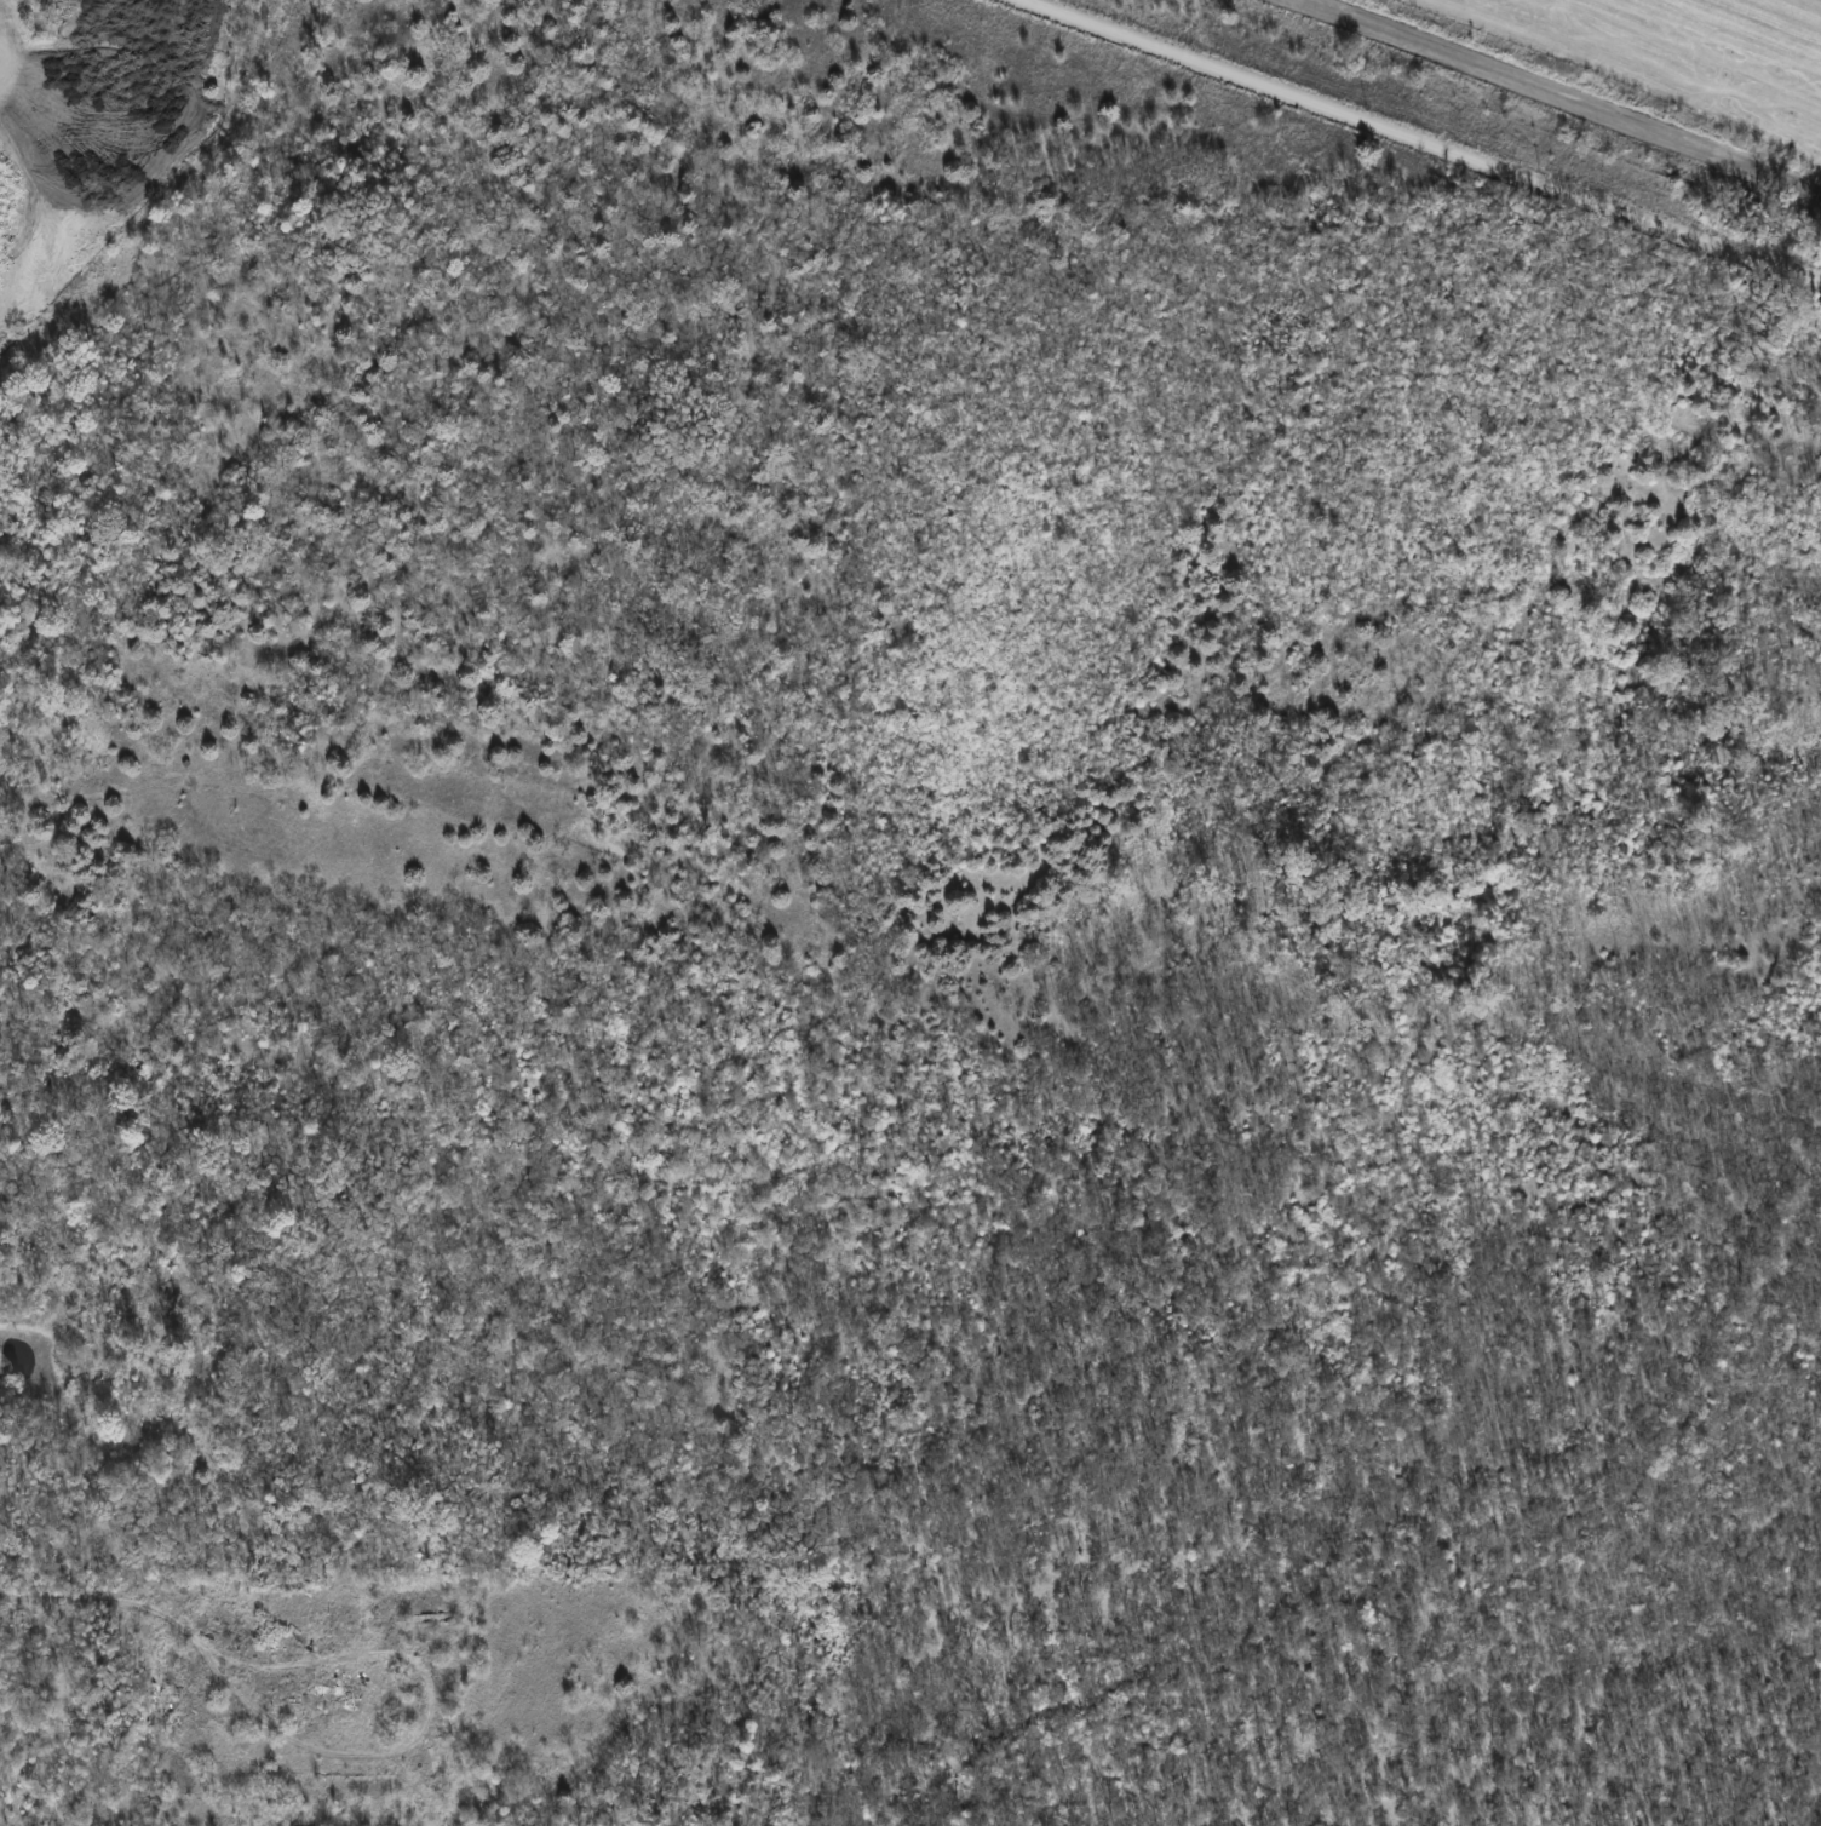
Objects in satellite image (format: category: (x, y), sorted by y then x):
dam: (1722, 40)
road: (1566, 92)
road: (102, 1602)
road: (427, 1719)

